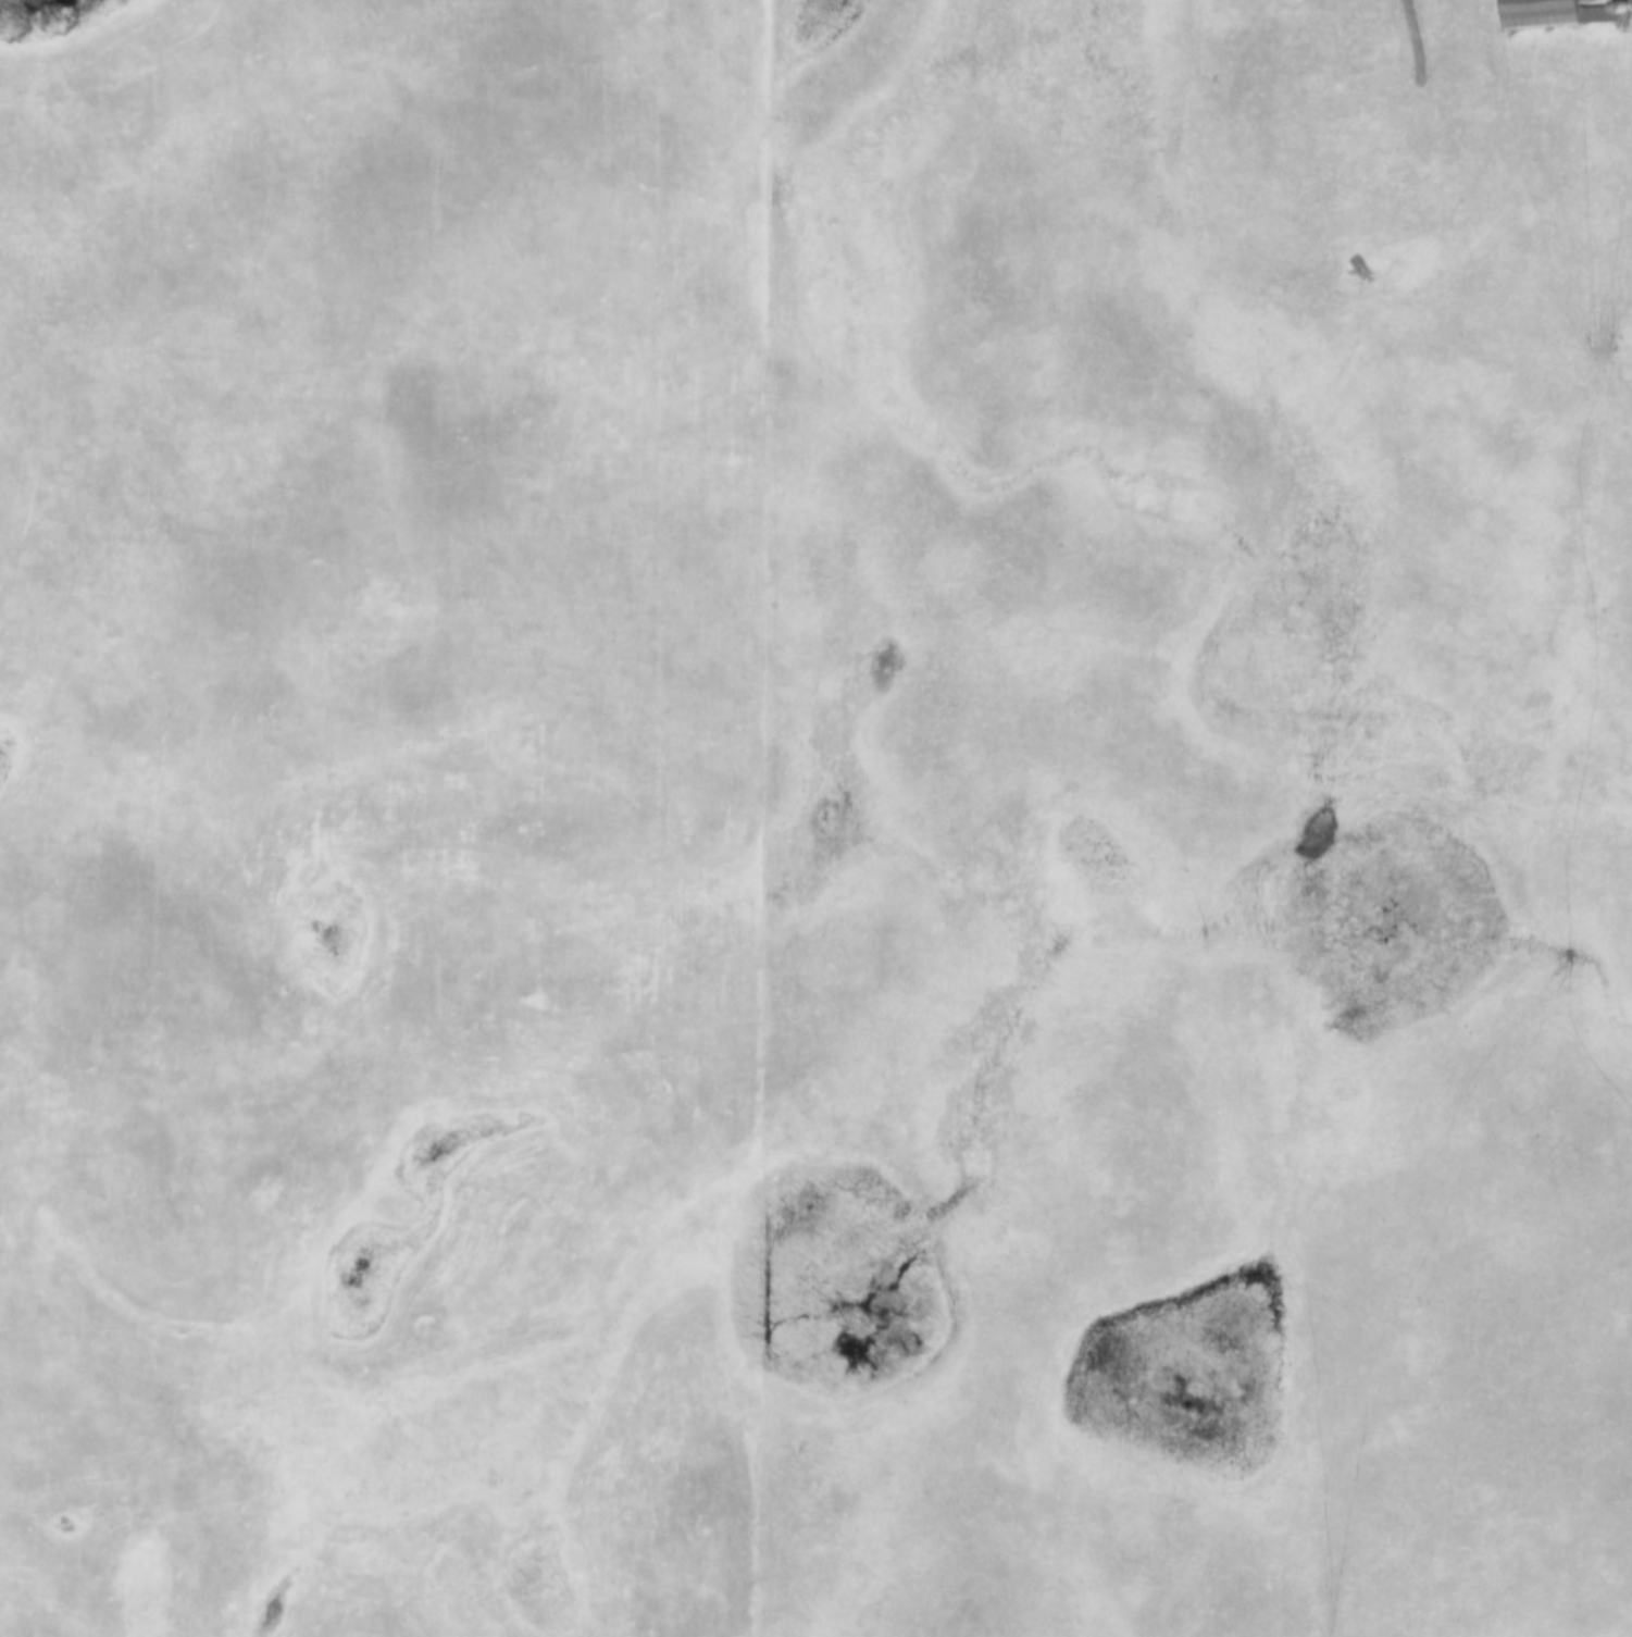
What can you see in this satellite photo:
building: (1558, 13)

